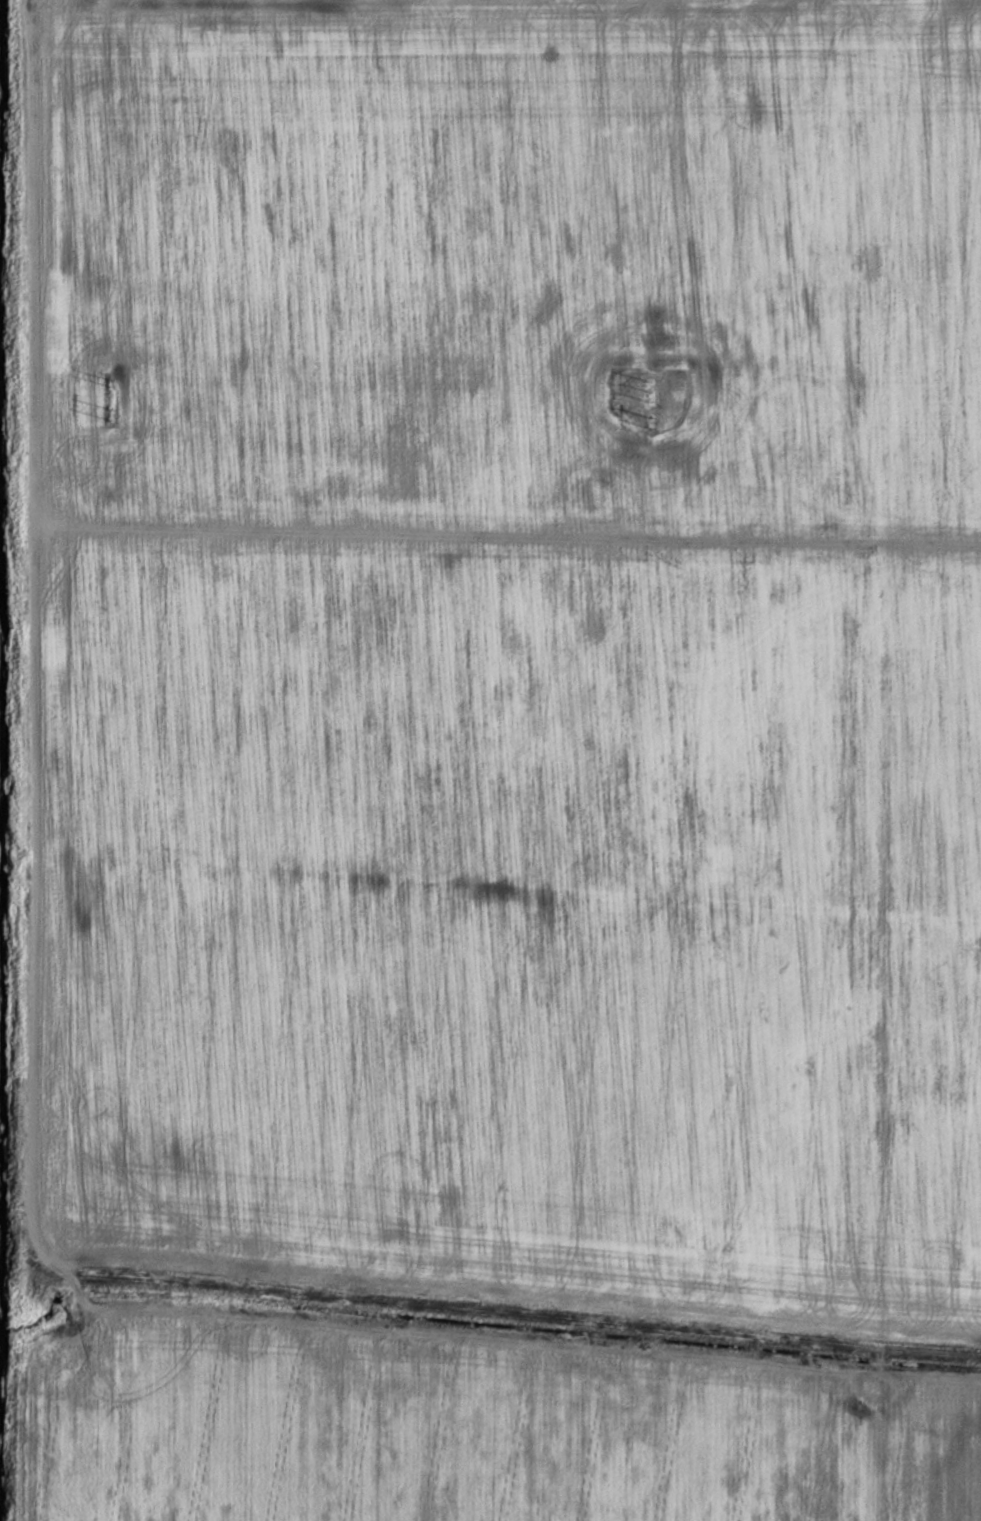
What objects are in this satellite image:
road: (26, 1104)
road: (77, 1296)

